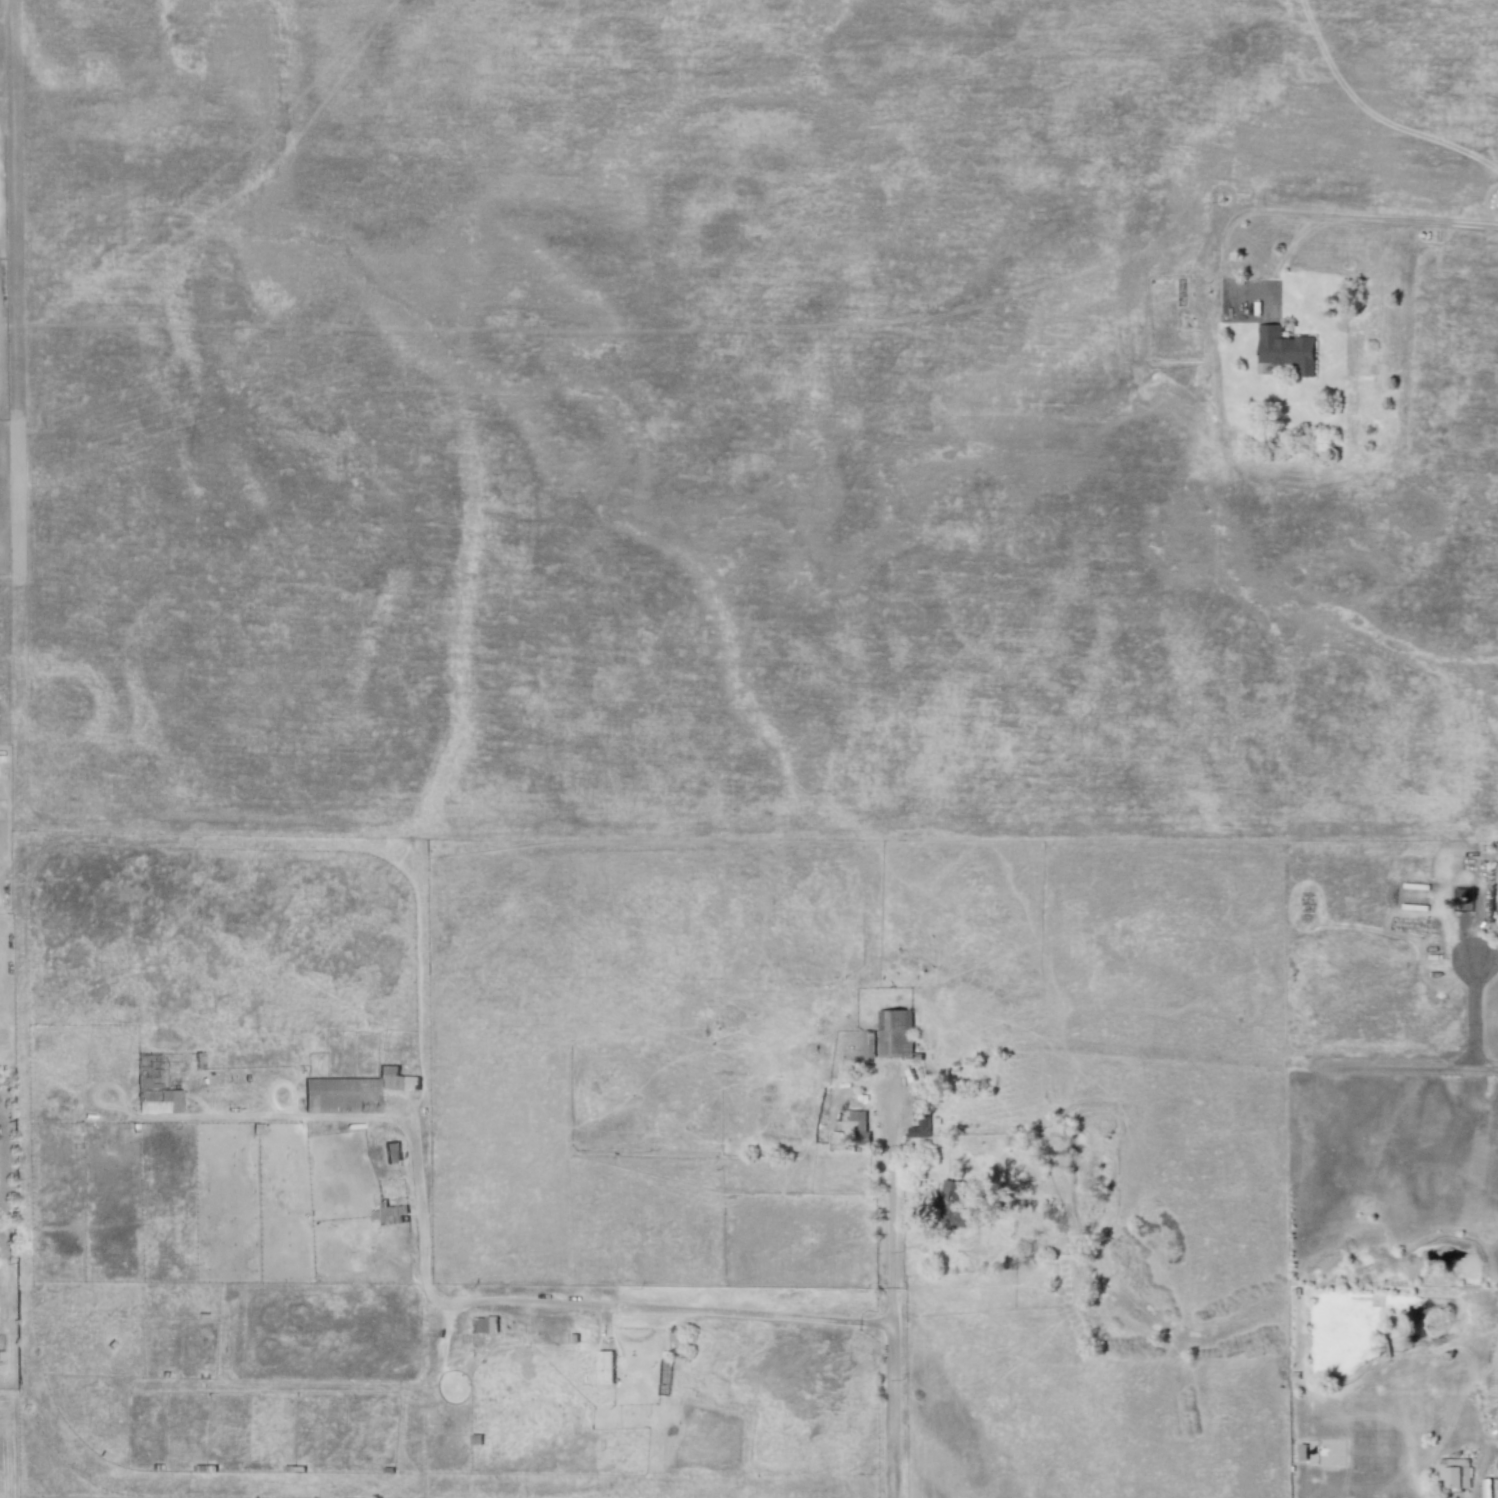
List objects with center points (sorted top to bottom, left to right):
road: (1334, 216)
building: (1285, 349)
road: (1486, 962)
road: (1474, 1015)
building: (894, 1033)
road: (1409, 1068)
building: (351, 1092)
building: (156, 1099)
building: (858, 1117)
building: (391, 1152)
building: (952, 1206)
building: (384, 1214)
road: (890, 1296)
road: (563, 1298)
building: (484, 1325)
building: (604, 1367)
building: (1452, 1472)

